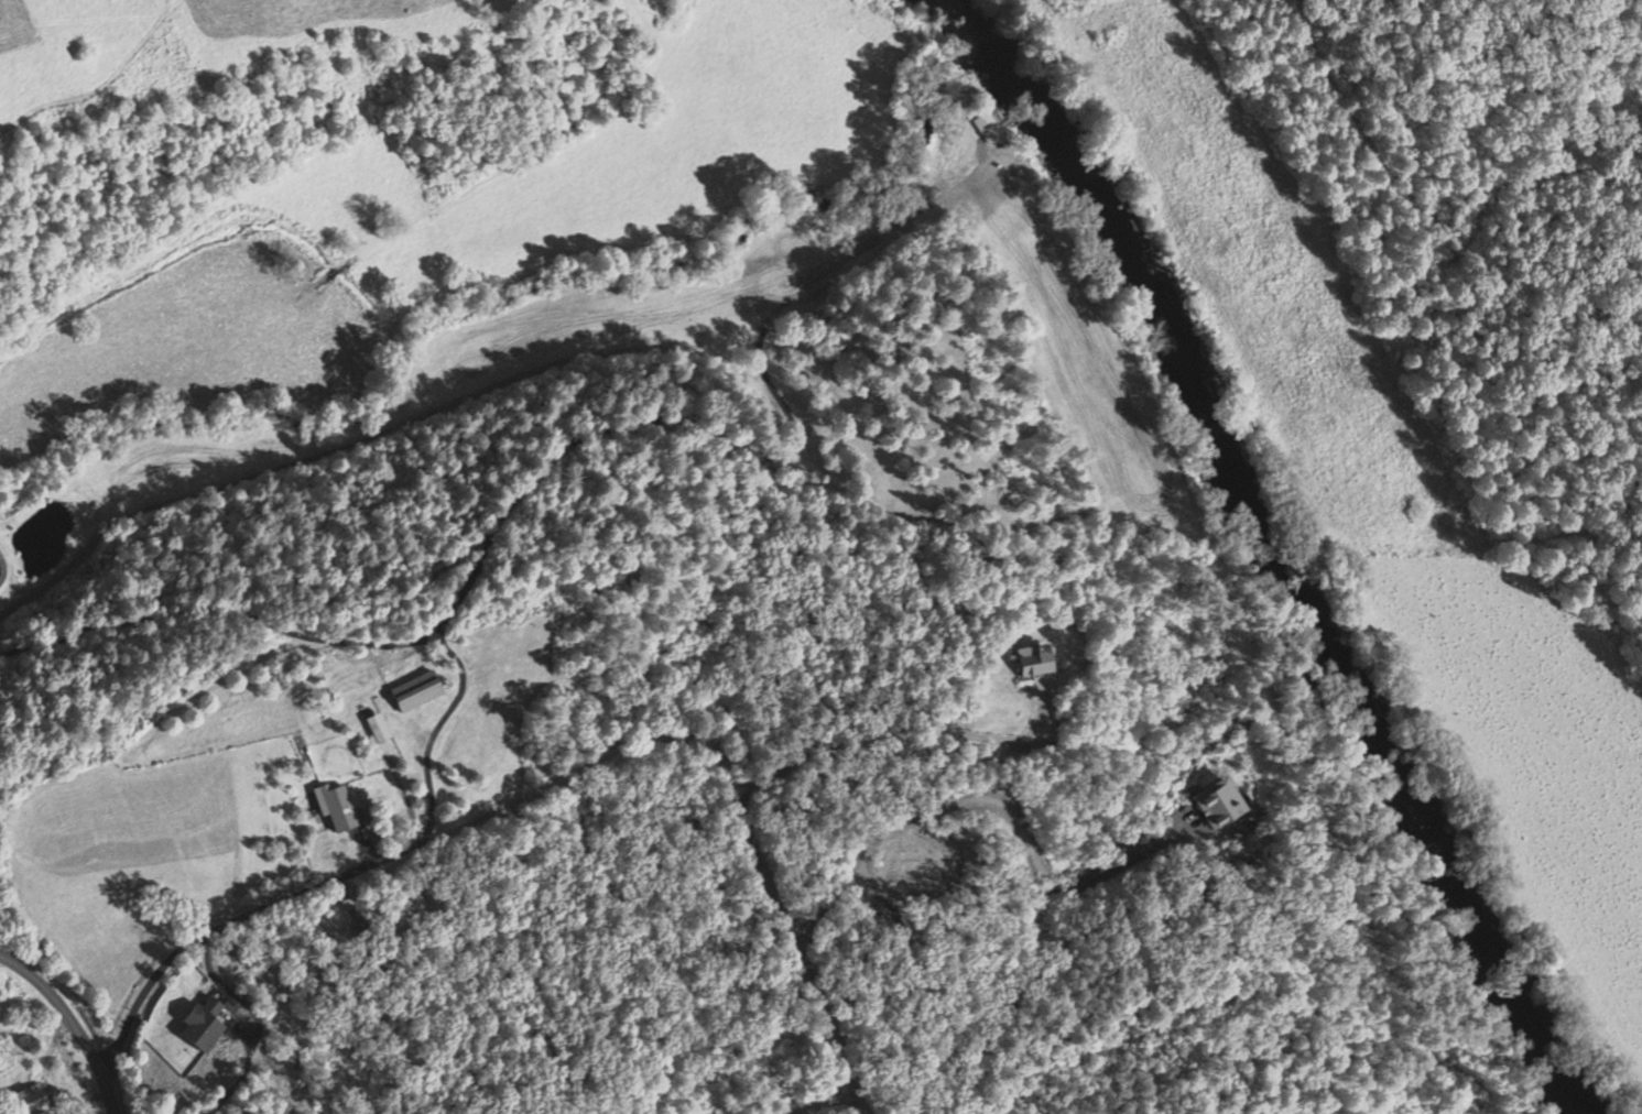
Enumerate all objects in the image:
river: (960, 33)
building: (987, 127)
river: (1293, 586)
building: (1032, 659)
building: (415, 690)
building: (376, 727)
building: (1218, 802)
building: (337, 807)
building: (414, 902)
building: (351, 911)
road: (74, 1019)
building: (202, 1024)
road: (833, 1102)

